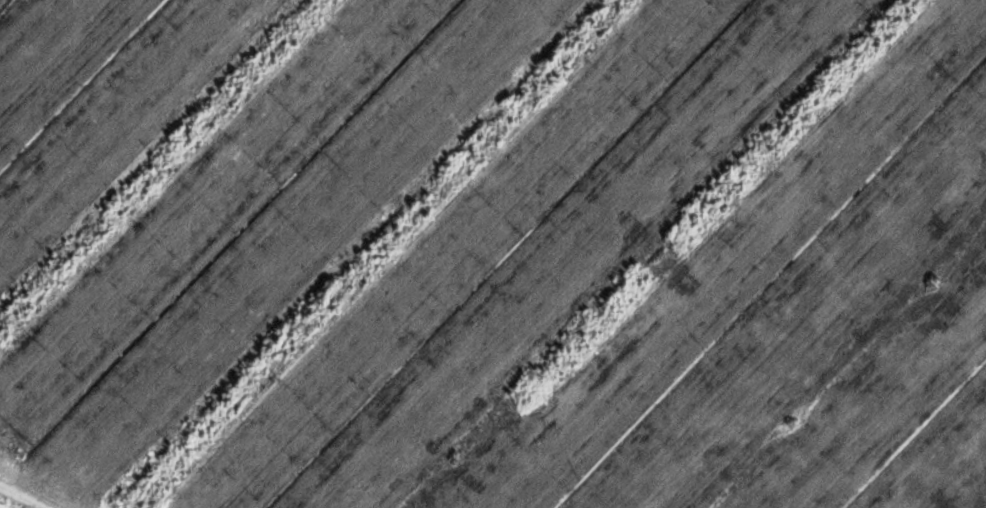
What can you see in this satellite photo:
road: (55, 480)

